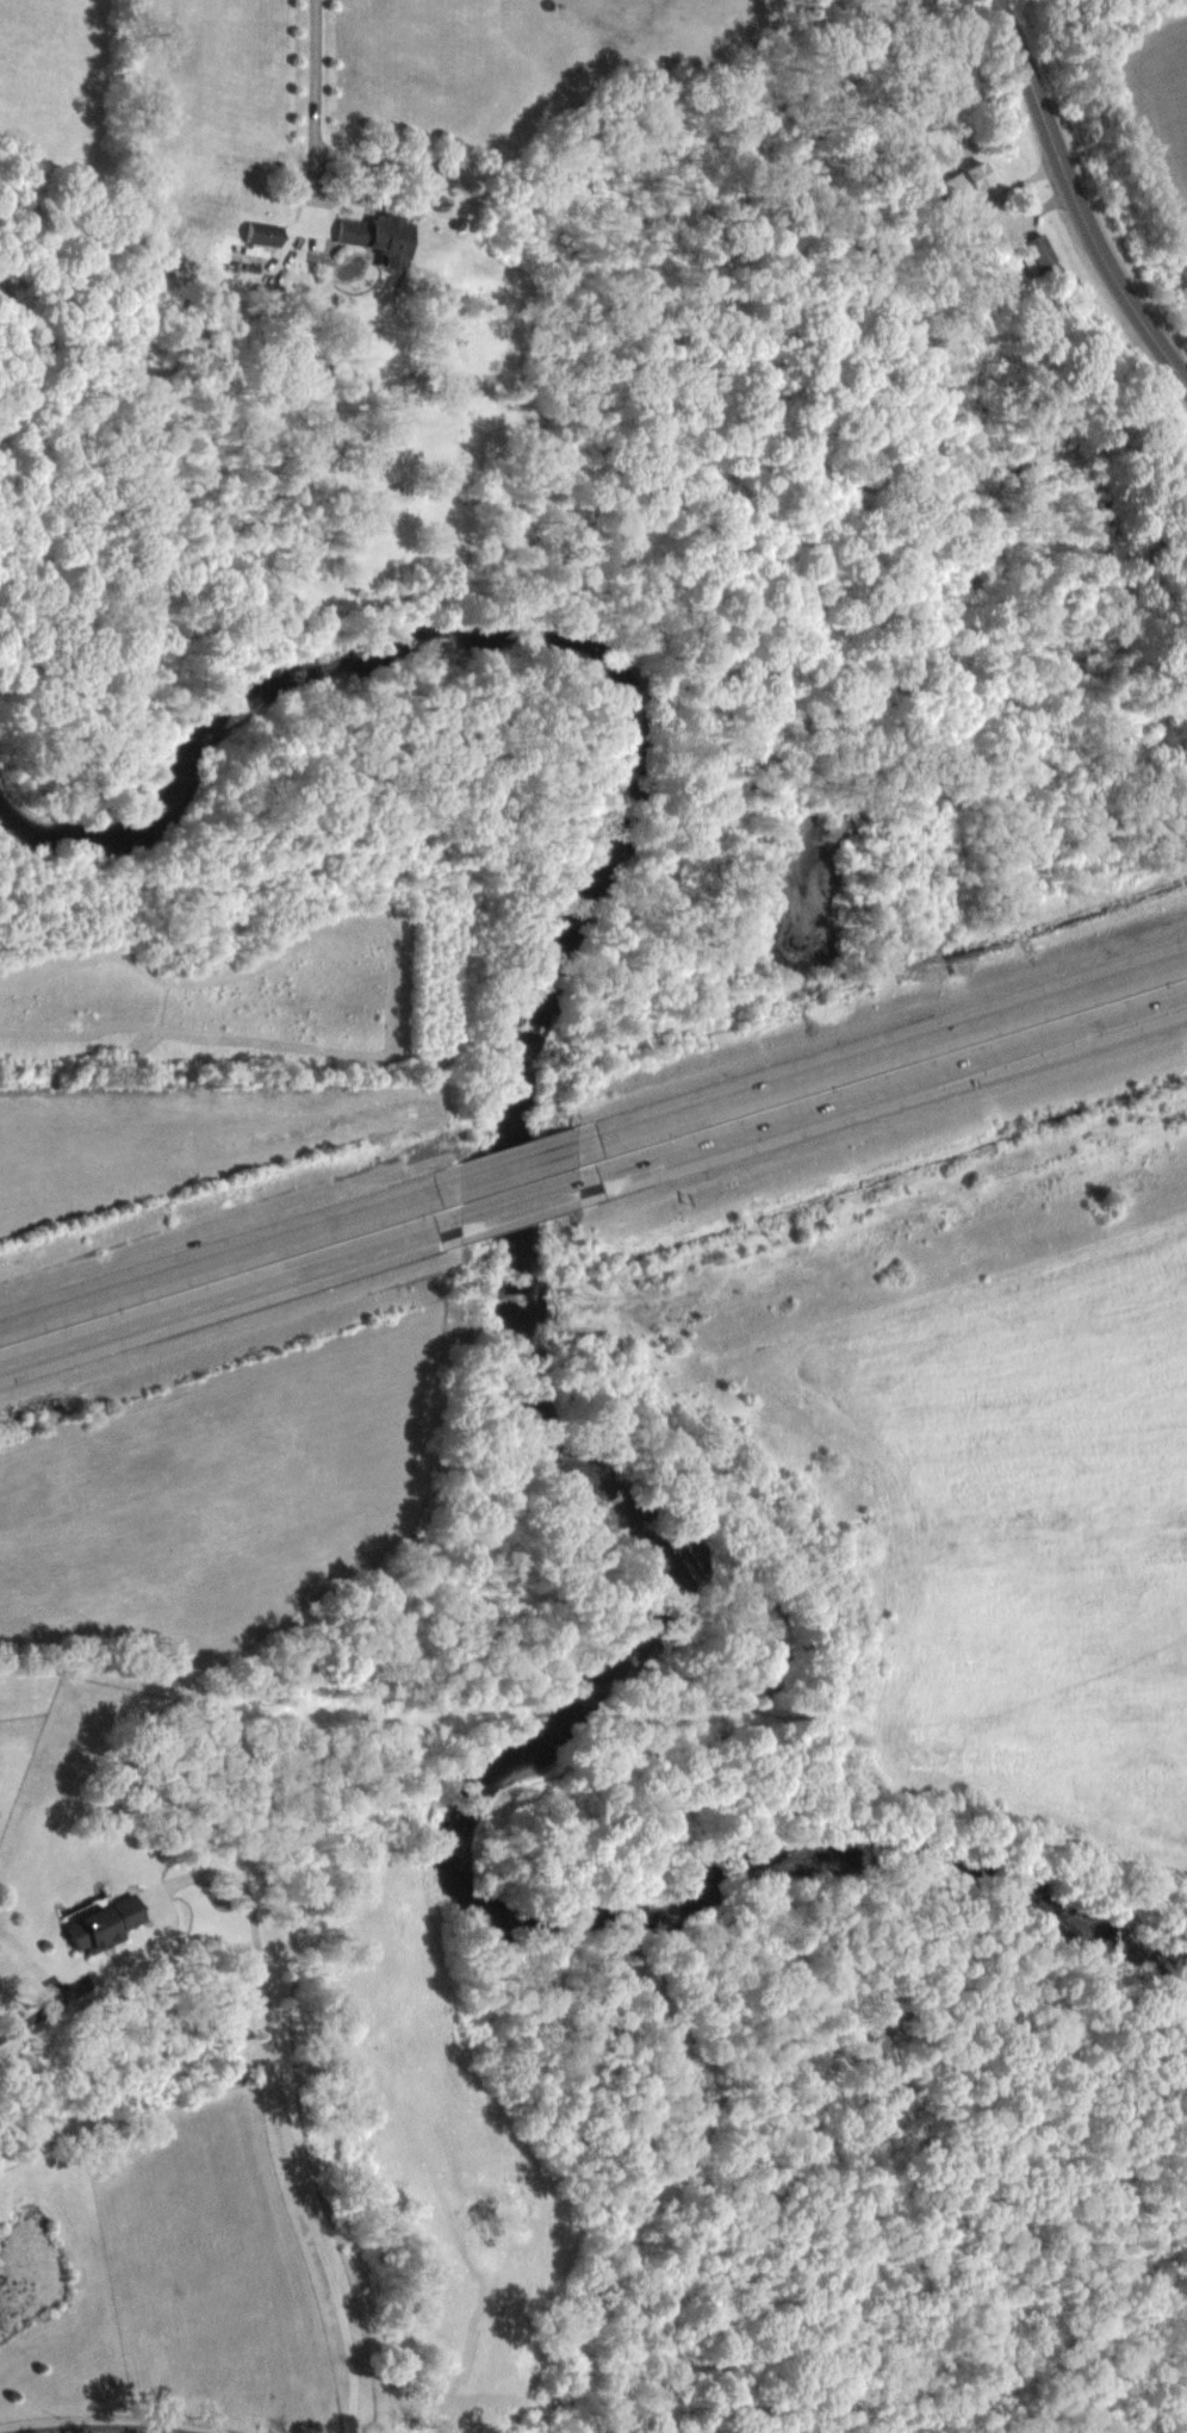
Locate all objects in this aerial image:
crop: (1161, 88)
road: (315, 101)
building: (963, 182)
road: (1076, 198)
building: (263, 234)
building: (378, 238)
building: (1038, 250)
road: (883, 1052)
road: (883, 1094)
road: (522, 1165)
road: (521, 1207)
road: (231, 1256)
road: (231, 1298)
river: (527, 1363)
building: (102, 1923)
road: (267, 1995)
road: (94, 2432)

